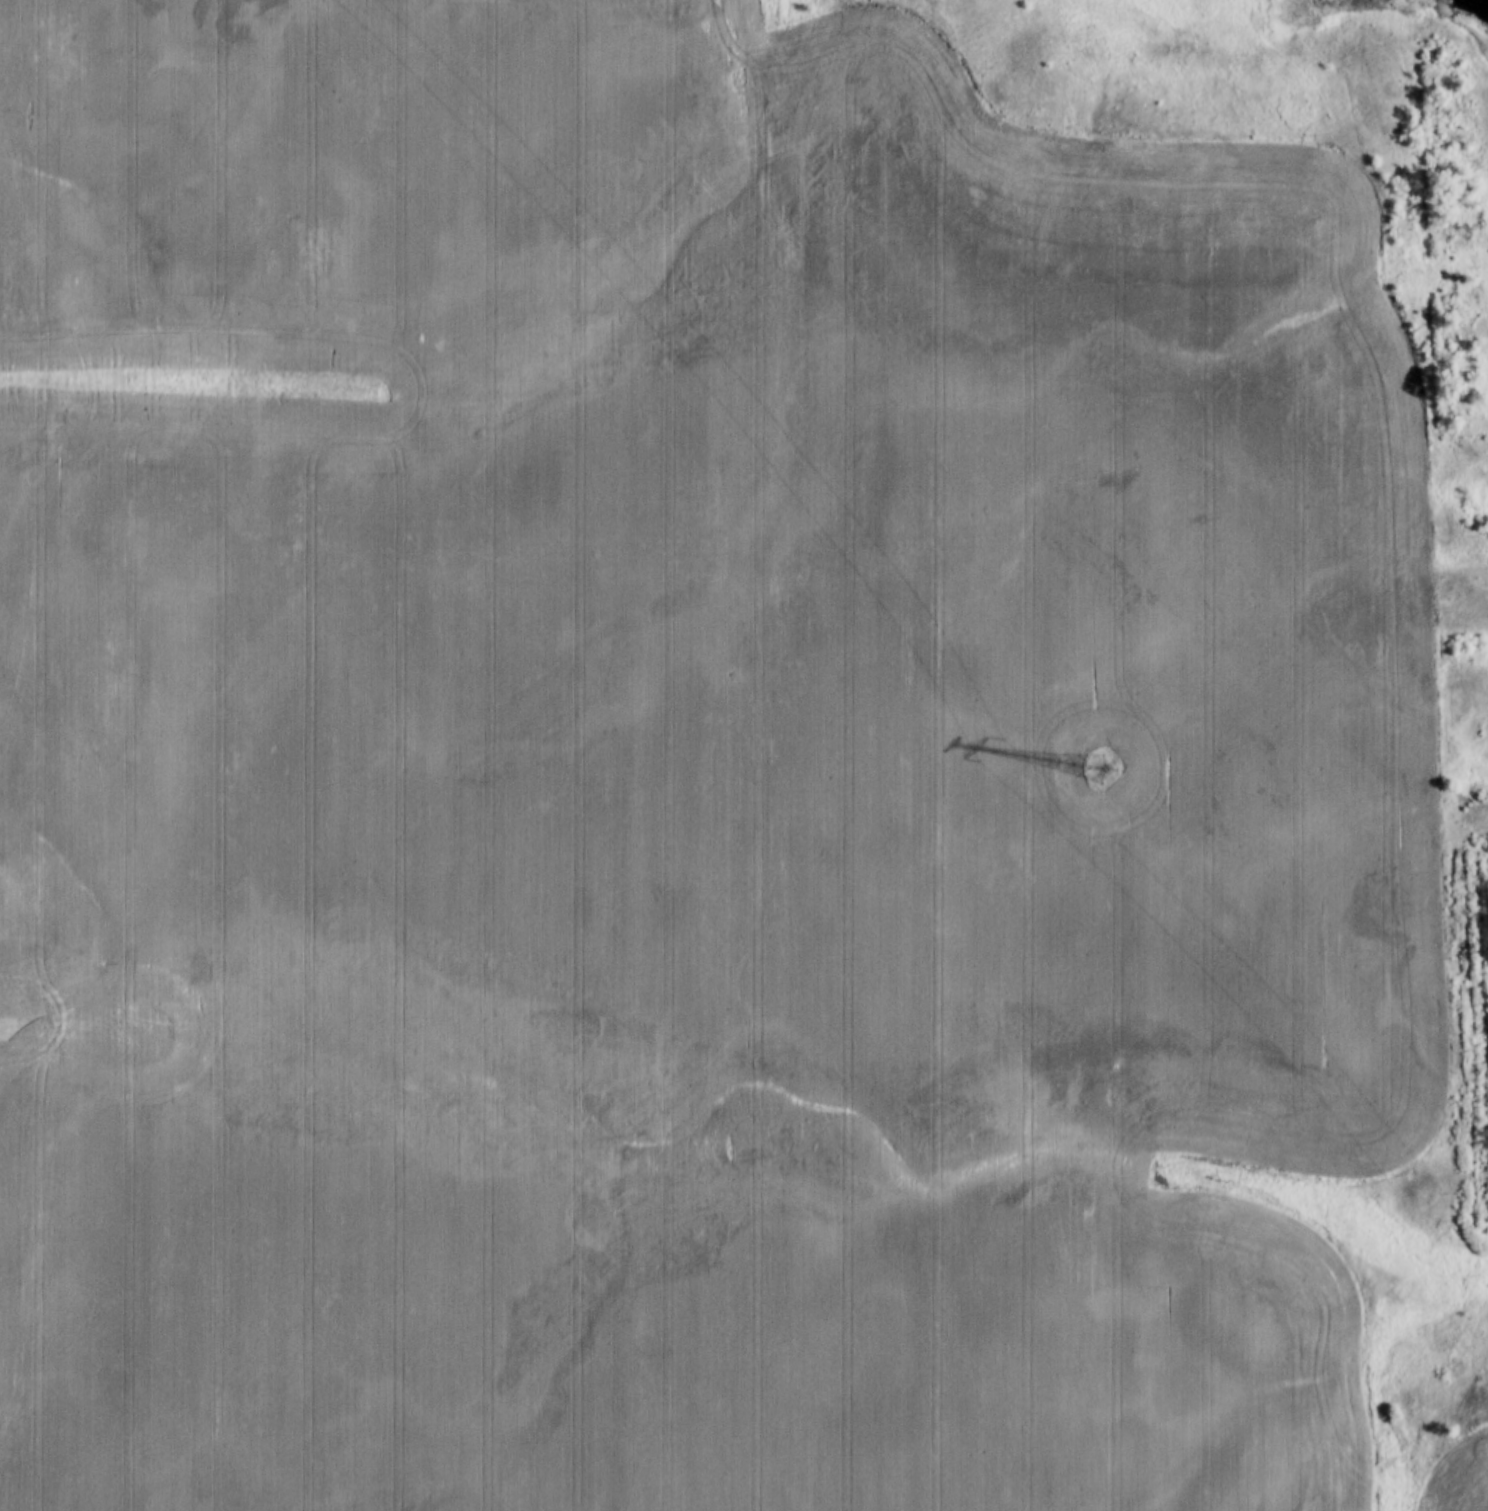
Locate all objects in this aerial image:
power tower: (1111, 772)

